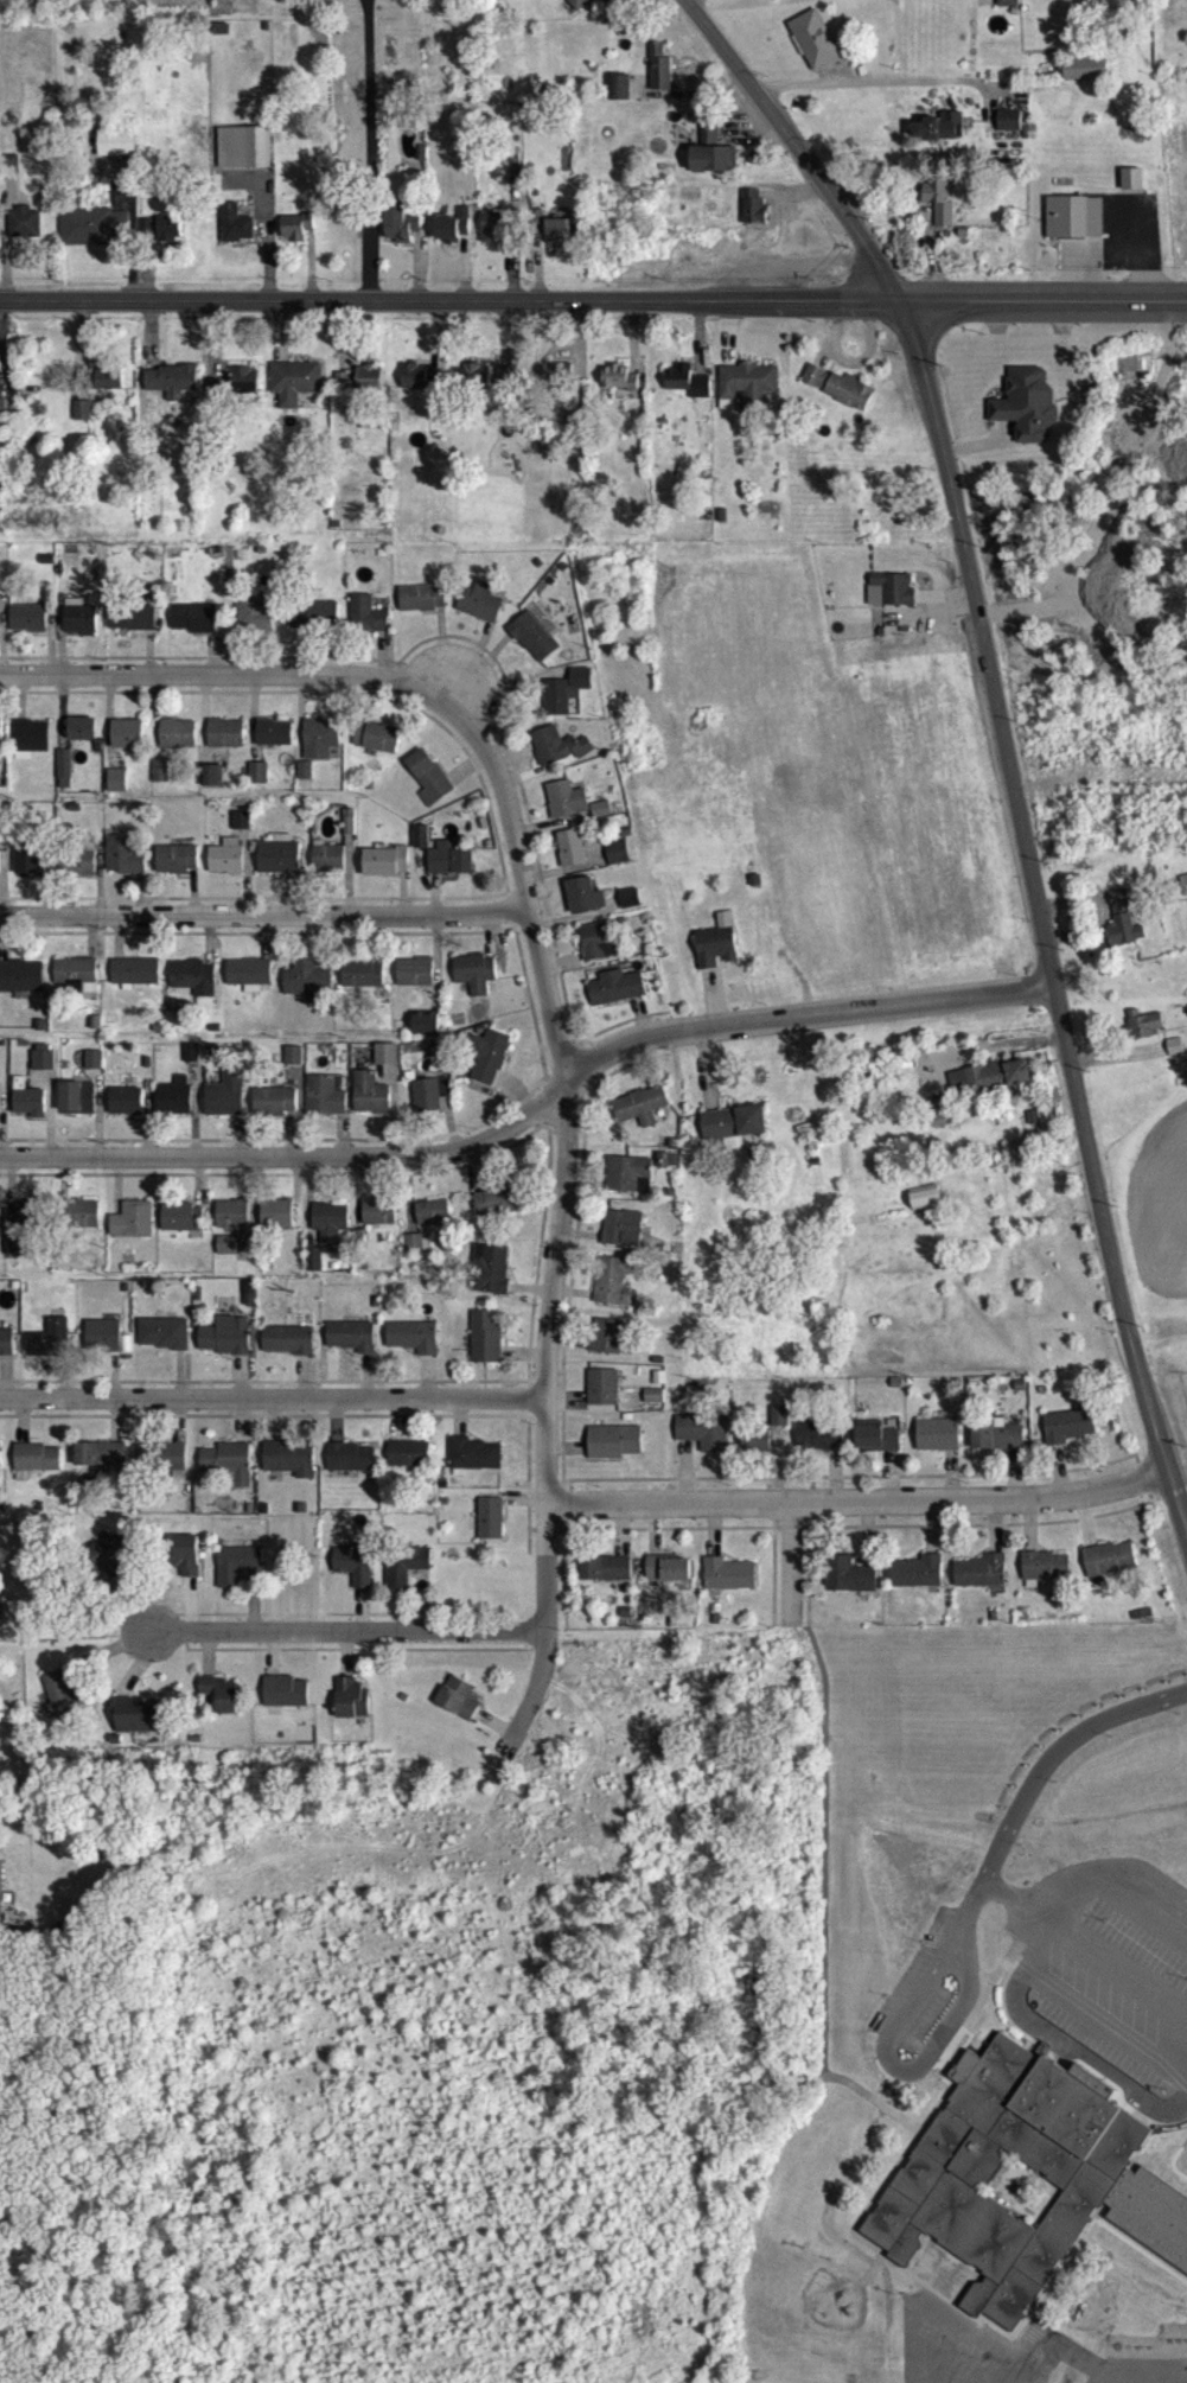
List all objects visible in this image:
building: (342, 1)
building: (778, 4)
building: (577, 8)
building: (1007, 8)
building: (815, 51)
road: (873, 77)
building: (660, 79)
building: (1086, 79)
building: (619, 98)
building: (1010, 132)
building: (940, 139)
road: (792, 146)
building: (117, 153)
building: (711, 160)
building: (939, 210)
building: (754, 219)
road: (132, 228)
building: (1076, 229)
building: (25, 234)
building: (401, 234)
building: (236, 235)
building: (453, 236)
building: (94, 237)
building: (296, 237)
building: (494, 237)
building: (162, 240)
building: (555, 246)
road: (1041, 297)
road: (447, 298)
building: (555, 383)
building: (504, 387)
building: (479, 388)
building: (615, 388)
building: (419, 389)
building: (110, 390)
building: (178, 390)
building: (360, 390)
building: (244, 391)
building: (295, 393)
building: (688, 393)
building: (747, 396)
building: (840, 397)
building: (215, 401)
building: (1028, 416)
building: (83, 422)
building: (2, 425)
building: (895, 600)
building: (422, 610)
building: (480, 613)
building: (254, 624)
building: (366, 625)
building: (314, 626)
building: (133, 629)
building: (194, 629)
building: (30, 630)
building: (82, 631)
building: (536, 646)
road: (226, 675)
building: (566, 702)
building: (82, 740)
building: (1, 743)
building: (275, 744)
building: (128, 745)
building: (178, 745)
building: (226, 745)
building: (376, 748)
building: (32, 750)
building: (320, 750)
building: (559, 757)
building: (65, 779)
building: (259, 784)
building: (215, 786)
building: (429, 789)
building: (117, 792)
building: (566, 810)
building: (601, 821)
building: (572, 859)
building: (0, 862)
building: (618, 864)
building: (126, 867)
building: (228, 868)
building: (279, 868)
building: (28, 869)
building: (328, 869)
building: (449, 869)
building: (178, 871)
building: (78, 873)
building: (387, 873)
building: (1183, 896)
building: (585, 907)
road: (262, 910)
building: (630, 910)
road: (1039, 912)
building: (1123, 932)
building: (598, 952)
building: (716, 960)
building: (135, 982)
building: (415, 983)
building: (476, 985)
building: (77, 986)
building: (249, 986)
building: (362, 986)
building: (21, 987)
building: (193, 988)
building: (307, 990)
building: (617, 999)
building: (426, 1036)
building: (1144, 1036)
building: (387, 1065)
building: (294, 1066)
building: (43, 1069)
building: (489, 1069)
building: (998, 1087)
building: (0, 1104)
building: (225, 1106)
building: (371, 1106)
building: (430, 1106)
road: (532, 1107)
building: (174, 1108)
building: (77, 1109)
building: (126, 1113)
building: (275, 1113)
building: (30, 1114)
building: (642, 1117)
building: (940, 1123)
building: (735, 1134)
road: (564, 1146)
building: (926, 1209)
building: (497, 1212)
building: (379, 1224)
building: (433, 1224)
building: (83, 1225)
building: (232, 1225)
building: (276, 1225)
building: (26, 1226)
building: (181, 1229)
building: (133, 1231)
building: (330, 1232)
building: (624, 1240)
building: (417, 1255)
building: (14, 1256)
building: (226, 1256)
building: (313, 1272)
building: (491, 1281)
building: (613, 1293)
building: (164, 1345)
building: (103, 1347)
building: (225, 1347)
building: (352, 1347)
building: (610, 1347)
building: (414, 1349)
building: (486, 1349)
building: (50, 1351)
building: (288, 1351)
building: (6, 1352)
road: (273, 1397)
building: (604, 1398)
building: (652, 1408)
building: (780, 1428)
building: (1068, 1438)
building: (704, 1442)
building: (938, 1446)
building: (819, 1447)
building: (997, 1448)
building: (878, 1451)
building: (615, 1453)
building: (758, 1453)
building: (409, 1465)
building: (476, 1465)
building: (101, 1467)
building: (291, 1470)
building: (351, 1470)
building: (34, 1471)
building: (229, 1473)
road: (859, 1499)
building: (491, 1530)
road: (792, 1562)
building: (186, 1566)
building: (111, 1568)
building: (1110, 1570)
building: (237, 1576)
building: (356, 1576)
building: (404, 1578)
building: (1046, 1578)
building: (606, 1580)
building: (669, 1580)
building: (918, 1584)
building: (981, 1584)
building: (729, 1586)
building: (849, 1587)
building: (0, 1624)
road: (351, 1631)
road: (528, 1695)
building: (286, 1703)
building: (222, 1705)
building: (64, 1707)
building: (459, 1709)
building: (351, 1710)
building: (139, 1728)
road: (1054, 1752)
building: (1, 1893)
road: (1087, 1963)
parking lot: (1064, 1977)
building: (1004, 2179)

